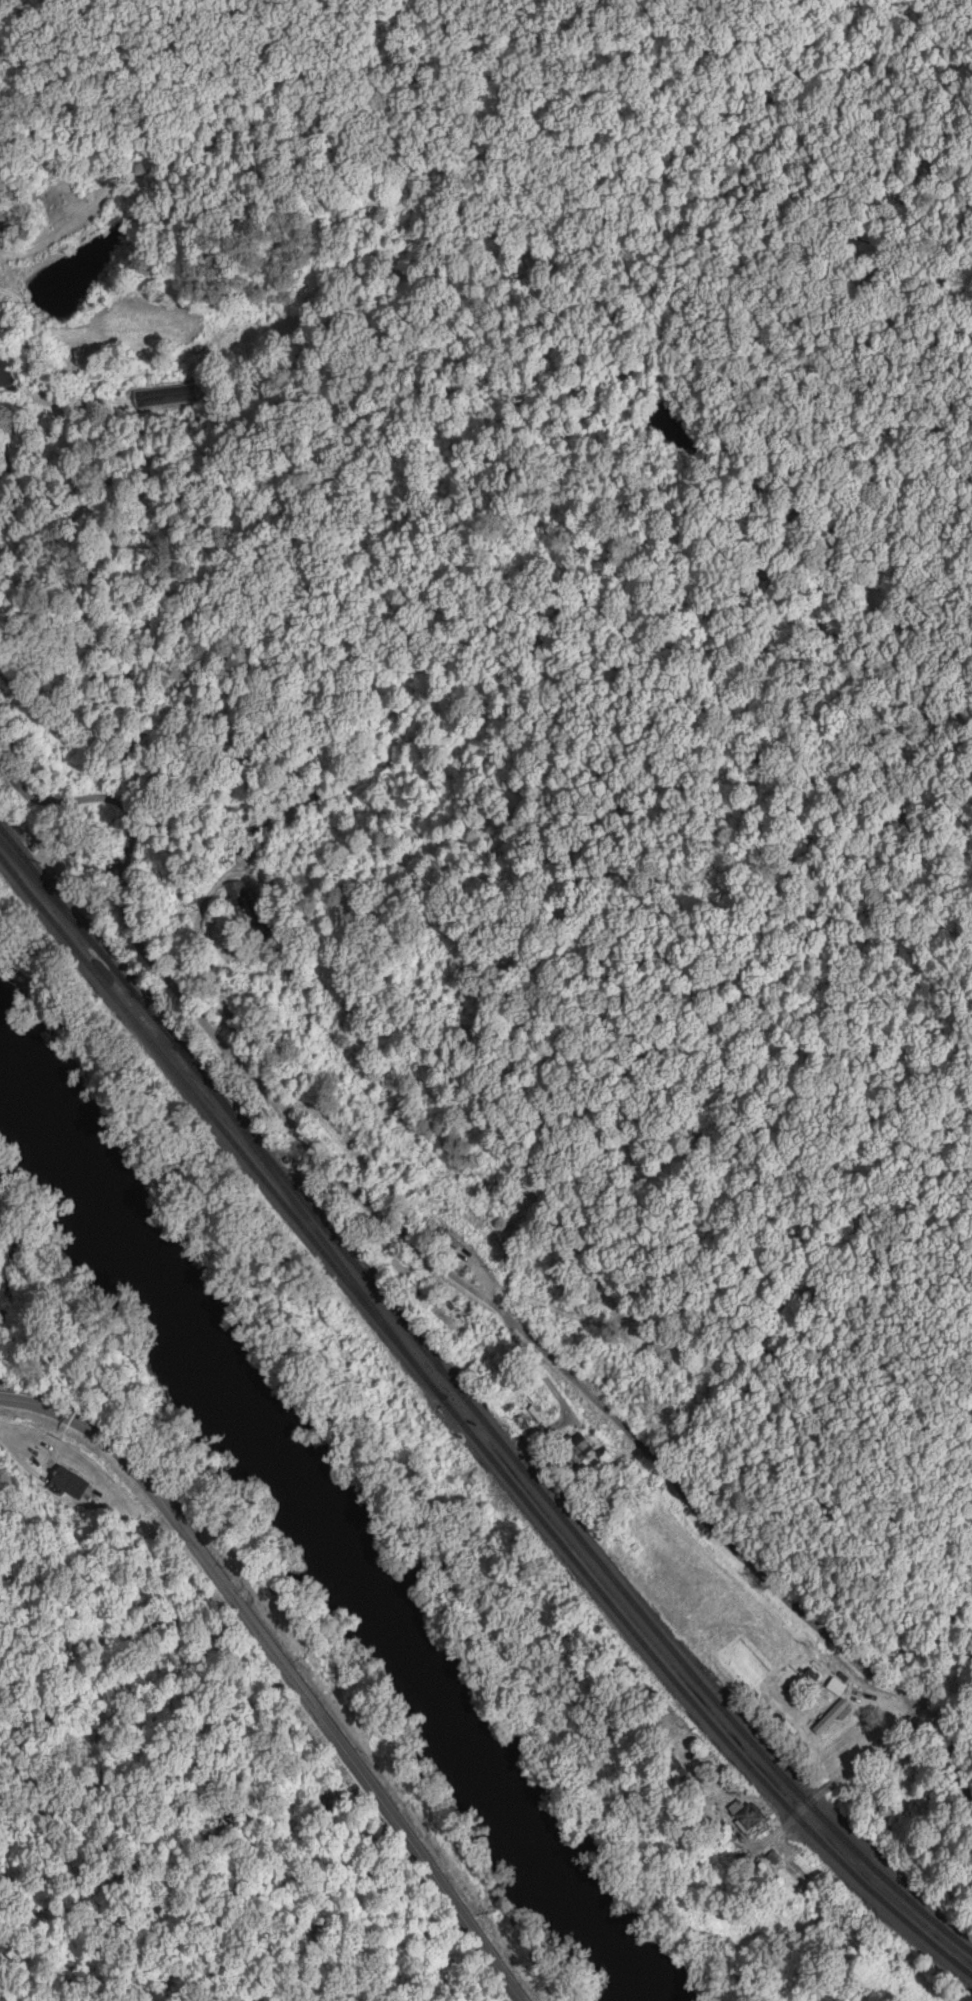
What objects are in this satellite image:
building: (235, 892)
road: (480, 1276)
building: (445, 1321)
railway: (469, 1413)
building: (577, 1448)
building: (67, 1480)
river: (314, 1543)
road: (285, 1671)
building: (830, 1718)
building: (742, 1814)

